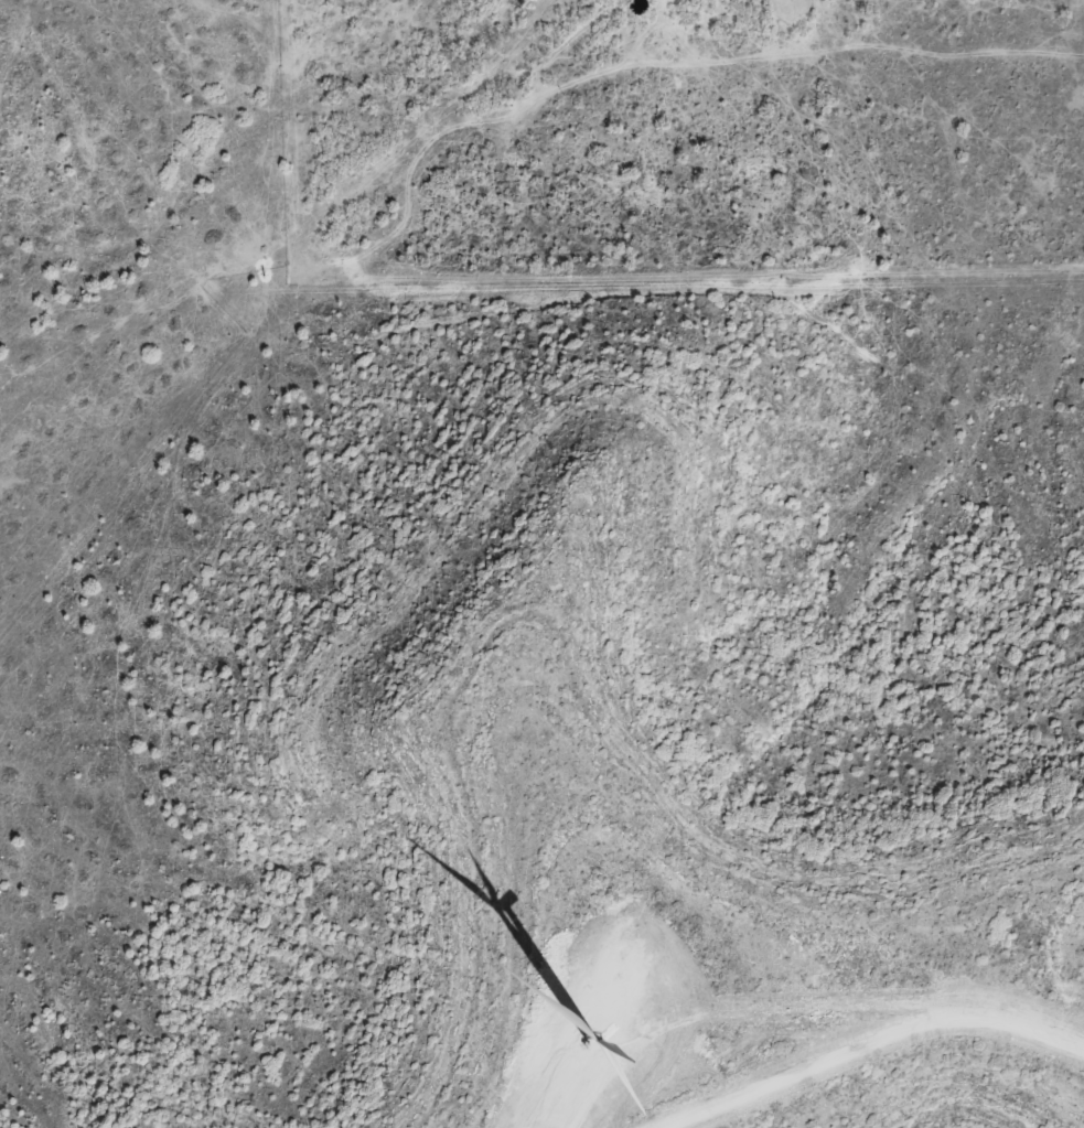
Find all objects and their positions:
wind turbine: (583, 1030)

